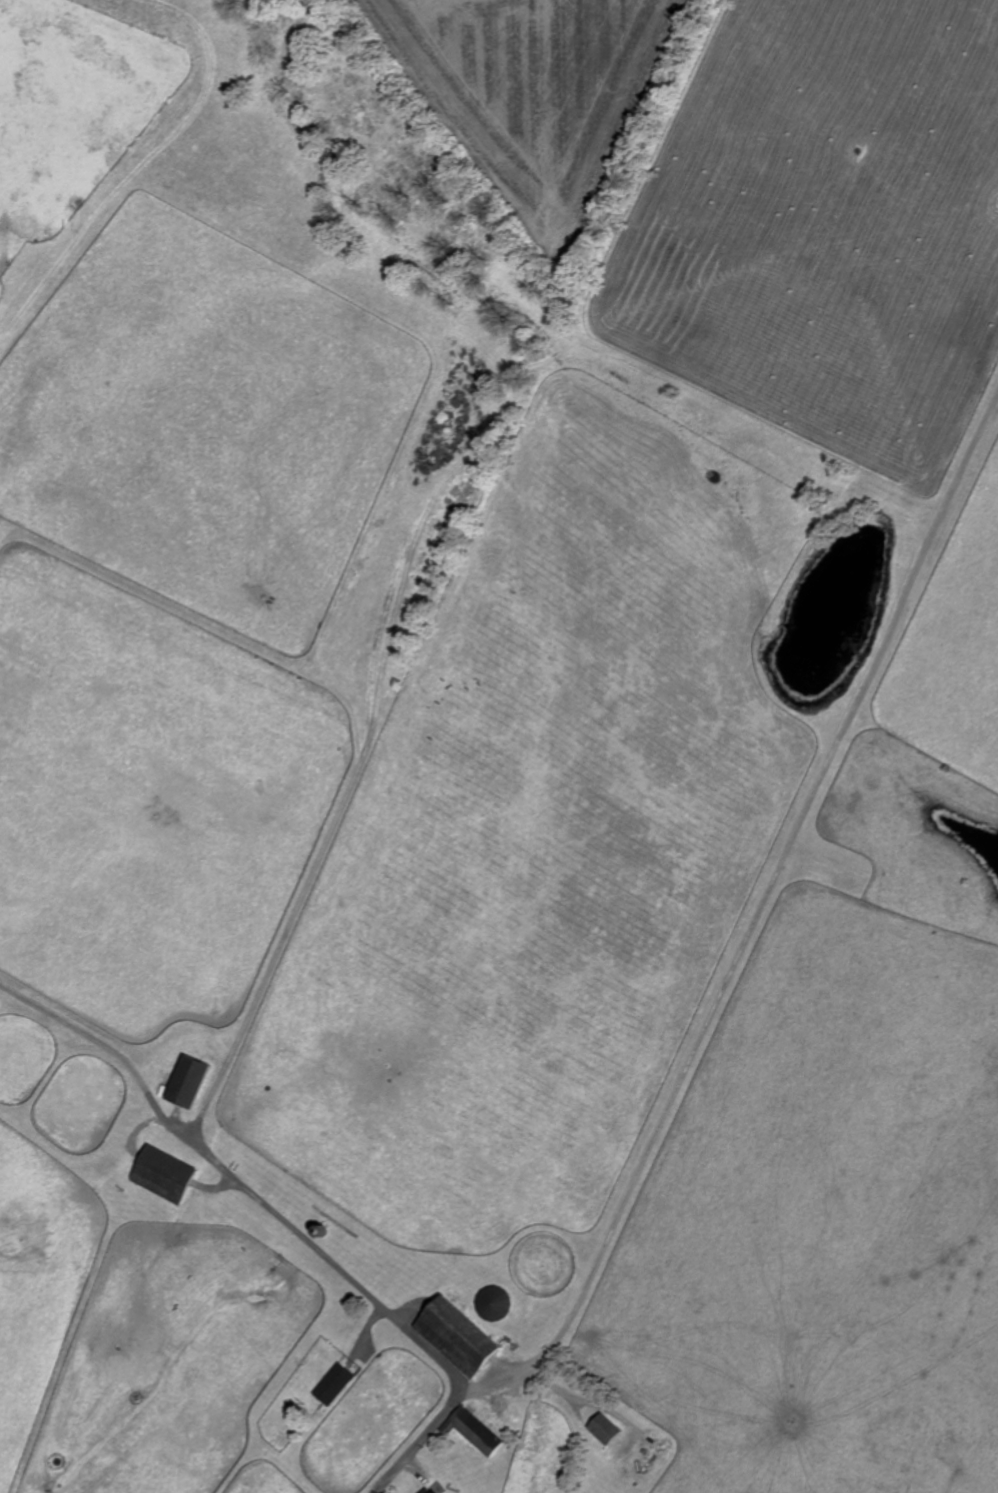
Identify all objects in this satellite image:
road: (89, 1044)
building: (191, 1081)
building: (165, 1172)
building: (322, 1230)
silo: (322, 1230)
road: (367, 1293)
building: (495, 1304)
silo: (495, 1304)
building: (458, 1333)
building: (334, 1382)
building: (477, 1431)
building: (437, 1492)

